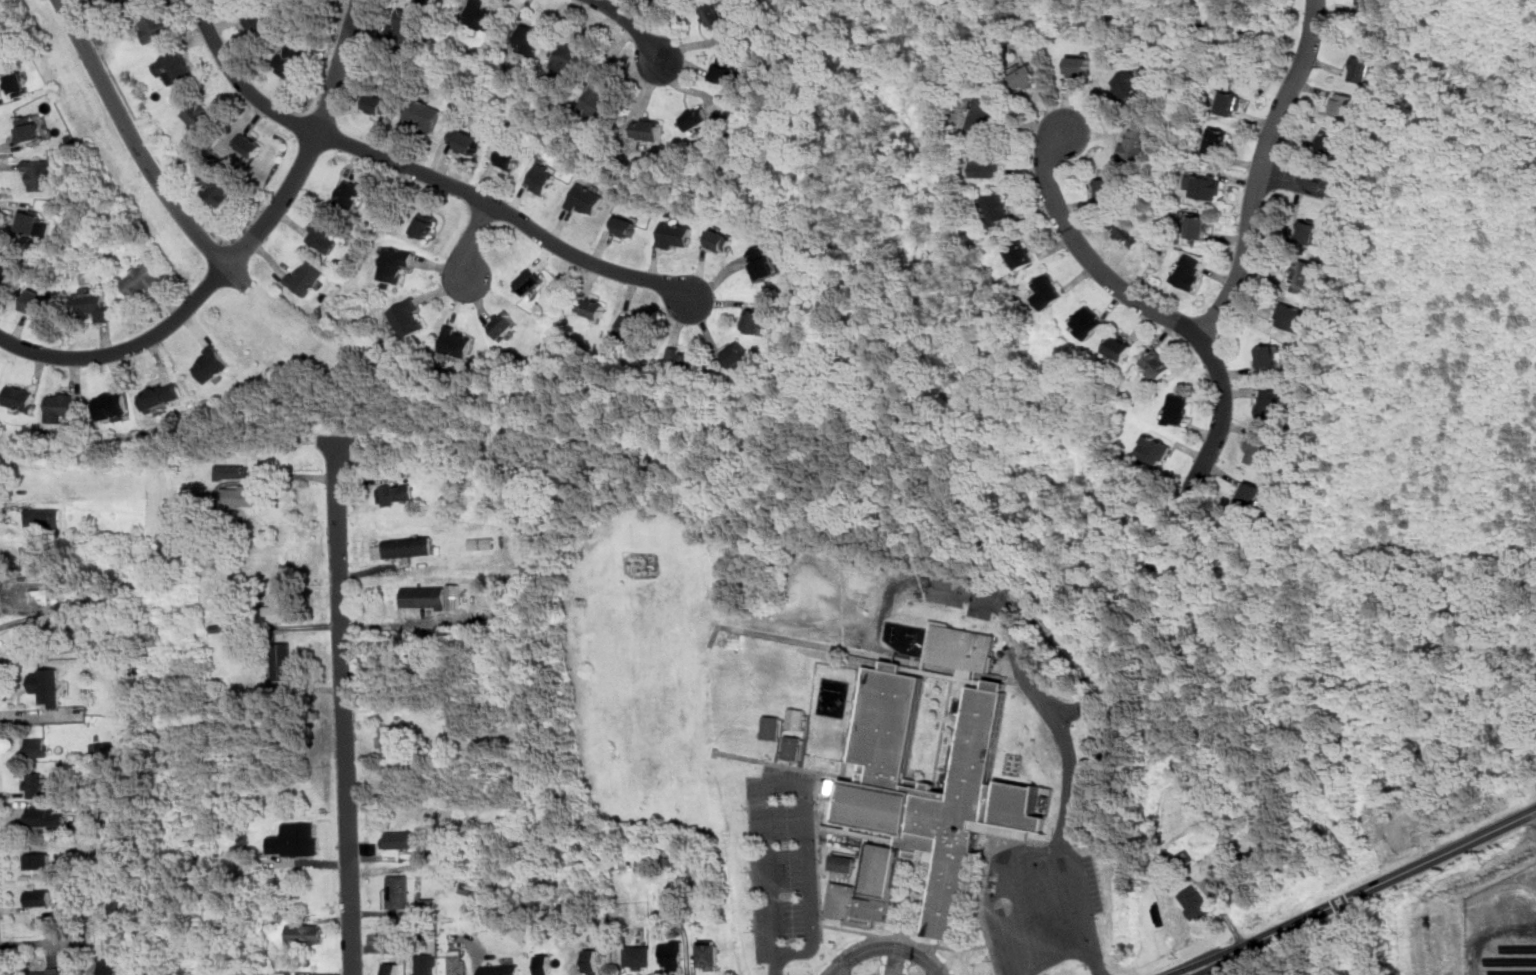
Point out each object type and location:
building: (116, 0)
park: (874, 2)
building: (1368, 5)
building: (714, 14)
building: (483, 16)
building: (258, 23)
building: (405, 24)
road: (632, 25)
building: (154, 26)
building: (529, 38)
building: (2, 42)
building: (567, 56)
building: (289, 61)
building: (1078, 66)
building: (174, 67)
building: (726, 69)
building: (1362, 69)
building: (1026, 76)
road: (239, 83)
building: (18, 84)
building: (1129, 84)
building: (600, 102)
building: (1231, 102)
building: (379, 103)
building: (1346, 105)
building: (985, 113)
building: (423, 114)
building: (199, 115)
building: (697, 117)
road: (140, 126)
building: (29, 128)
building: (648, 129)
road: (135, 139)
building: (465, 140)
building: (1138, 140)
building: (1217, 140)
building: (250, 143)
building: (1328, 144)
building: (509, 157)
building: (986, 164)
road: (1260, 171)
building: (39, 174)
building: (542, 177)
road: (1305, 184)
building: (1204, 185)
building: (218, 187)
building: (1106, 188)
building: (349, 194)
building: (586, 199)
building: (997, 207)
road: (508, 214)
building: (29, 221)
building: (424, 224)
building: (625, 225)
building: (1198, 226)
building: (1127, 231)
building: (1306, 232)
building: (323, 234)
building: (675, 235)
road: (469, 240)
road: (226, 241)
building: (720, 241)
road: (239, 247)
road: (217, 249)
road: (241, 252)
building: (1021, 253)
building: (761, 262)
building: (394, 263)
building: (1188, 271)
building: (5, 272)
building: (1302, 275)
road: (238, 277)
building: (306, 277)
building: (142, 281)
building: (529, 281)
building: (1048, 291)
building: (38, 303)
building: (93, 304)
building: (593, 307)
road: (1151, 308)
building: (1290, 315)
building: (407, 318)
building: (755, 318)
building: (1088, 322)
building: (503, 323)
building: (631, 325)
building: (457, 343)
building: (1120, 346)
building: (737, 354)
building: (1267, 357)
building: (683, 361)
building: (210, 364)
building: (1157, 364)
building: (161, 394)
building: (19, 397)
building: (1270, 401)
building: (111, 402)
building: (59, 406)
building: (1177, 408)
building: (1153, 449)
building: (1259, 450)
building: (232, 471)
road: (296, 476)
building: (394, 493)
building: (1252, 493)
building: (242, 494)
building: (44, 517)
building: (170, 520)
building: (481, 543)
building: (405, 547)
building: (165, 548)
building: (30, 560)
building: (424, 597)
building: (455, 597)
building: (280, 606)
building: (45, 637)
building: (961, 647)
building: (283, 661)
building: (48, 685)
building: (797, 719)
road: (344, 723)
building: (772, 727)
building: (389, 737)
building: (35, 747)
building: (793, 747)
building: (35, 785)
road: (796, 788)
building: (923, 799)
building: (43, 815)
building: (231, 824)
building: (400, 839)
building: (294, 840)
road: (1040, 851)
building: (39, 860)
building: (842, 862)
building: (398, 891)
road: (1361, 893)
building: (41, 897)
building: (1196, 902)
building: (114, 906)
solar farm: (1504, 927)
building: (305, 934)
road: (888, 946)
building: (708, 954)
building: (672, 955)
building: (638, 956)
building: (593, 960)
building: (458, 962)
building: (426, 964)
building: (545, 964)
building: (112, 966)
road: (775, 967)
building: (393, 968)
building: (501, 970)
building: (49, 971)

